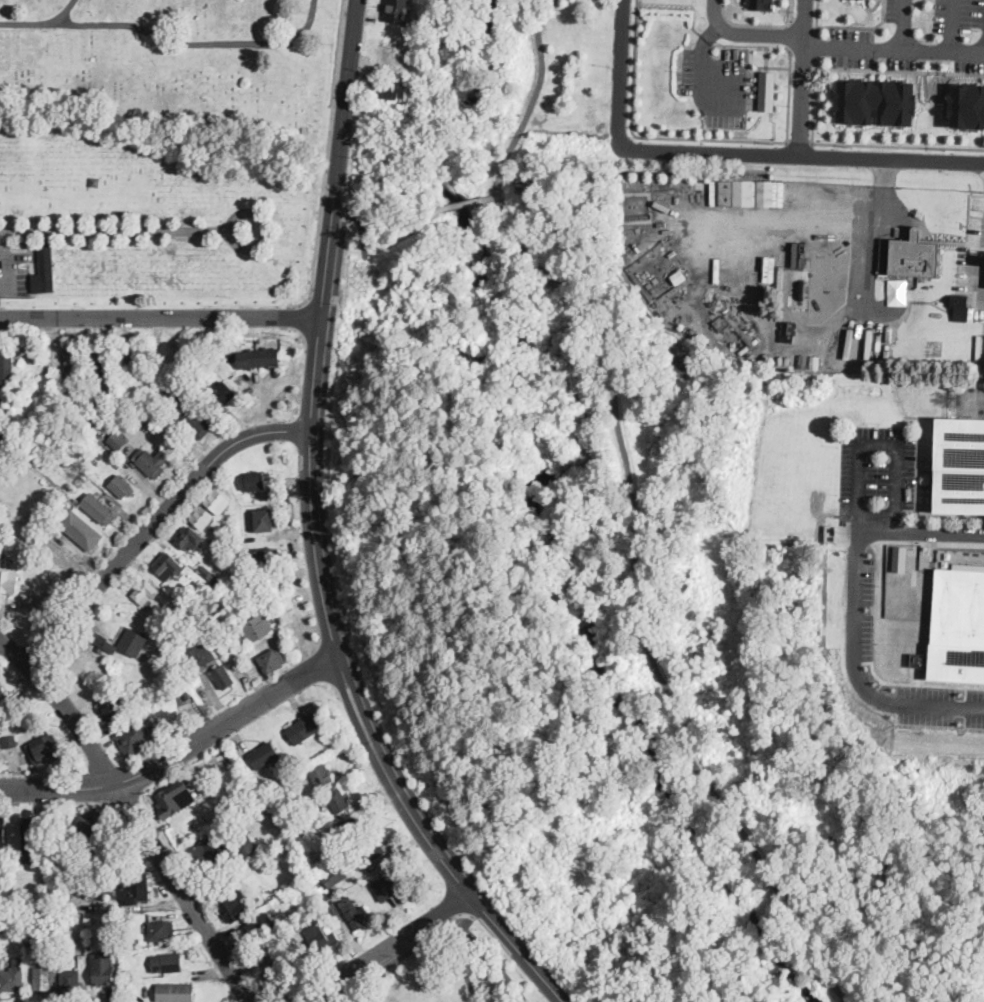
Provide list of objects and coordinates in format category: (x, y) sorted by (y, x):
building: (760, 4)
road: (792, 9)
road: (68, 11)
building: (398, 11)
road: (817, 14)
road: (750, 23)
road: (803, 24)
road: (901, 24)
road: (953, 25)
road: (142, 26)
road: (860, 26)
road: (306, 27)
road: (747, 32)
road: (791, 34)
road: (816, 44)
road: (893, 48)
road: (802, 53)
building: (390, 54)
road: (896, 69)
road: (619, 75)
road: (540, 78)
road: (700, 78)
road: (801, 78)
building: (391, 89)
building: (767, 90)
building: (876, 101)
building: (967, 105)
road: (689, 137)
road: (799, 141)
road: (860, 143)
park: (161, 150)
road: (707, 153)
road: (327, 155)
road: (891, 159)
building: (751, 192)
road: (472, 200)
road: (812, 222)
road: (262, 229)
road: (114, 231)
road: (517, 238)
road: (413, 240)
building: (799, 254)
building: (909, 257)
building: (46, 263)
building: (678, 276)
road: (322, 298)
building: (960, 305)
road: (160, 318)
road: (319, 328)
building: (791, 337)
building: (273, 341)
building: (238, 342)
building: (127, 354)
building: (259, 359)
building: (100, 360)
building: (803, 361)
building: (815, 361)
building: (35, 366)
building: (73, 366)
building: (6, 367)
building: (220, 393)
building: (175, 396)
building: (78, 417)
building: (103, 417)
building: (196, 422)
building: (134, 426)
road: (253, 435)
building: (101, 437)
building: (118, 441)
building: (5, 444)
building: (99, 455)
building: (152, 462)
building: (960, 466)
building: (253, 480)
building: (122, 487)
building: (77, 501)
building: (217, 501)
building: (98, 509)
road: (895, 517)
building: (202, 518)
building: (260, 519)
building: (81, 530)
road: (933, 534)
building: (22, 536)
building: (241, 536)
building: (12, 537)
building: (189, 538)
building: (30, 539)
road: (326, 546)
building: (899, 558)
building: (266, 560)
road: (116, 564)
building: (168, 565)
building: (209, 574)
building: (9, 580)
building: (145, 593)
building: (172, 611)
building: (176, 619)
building: (957, 626)
building: (257, 628)
building: (103, 642)
building: (129, 644)
road: (851, 656)
building: (200, 658)
building: (919, 659)
building: (269, 664)
road: (658, 672)
building: (225, 677)
road: (916, 683)
building: (1, 694)
building: (1, 698)
building: (113, 708)
building: (304, 729)
building: (136, 737)
building: (10, 740)
building: (46, 749)
road: (177, 751)
building: (264, 756)
building: (207, 770)
building: (322, 775)
building: (175, 798)
building: (250, 799)
building: (339, 800)
building: (224, 809)
road: (133, 813)
building: (93, 826)
building: (355, 829)
building: (35, 831)
building: (317, 831)
building: (3, 832)
road: (429, 842)
building: (246, 844)
building: (367, 853)
building: (204, 855)
building: (49, 875)
building: (3, 876)
building: (311, 877)
building: (335, 877)
building: (388, 886)
building: (134, 888)
building: (207, 896)
building: (326, 896)
building: (64, 897)
road: (481, 906)
building: (234, 907)
building: (335, 907)
building: (356, 914)
building: (88, 920)
road: (469, 921)
building: (260, 927)
building: (161, 930)
building: (60, 933)
building: (296, 934)
building: (3, 936)
building: (321, 937)
building: (124, 938)
building: (30, 941)
road: (381, 948)
building: (2, 952)
road: (396, 958)
building: (169, 963)
road: (495, 963)
road: (464, 965)
building: (281, 967)
building: (103, 970)
park: (445, 971)
building: (122, 973)
building: (13, 977)
building: (44, 977)
building: (69, 978)
building: (122, 987)
building: (175, 992)
road: (515, 999)

